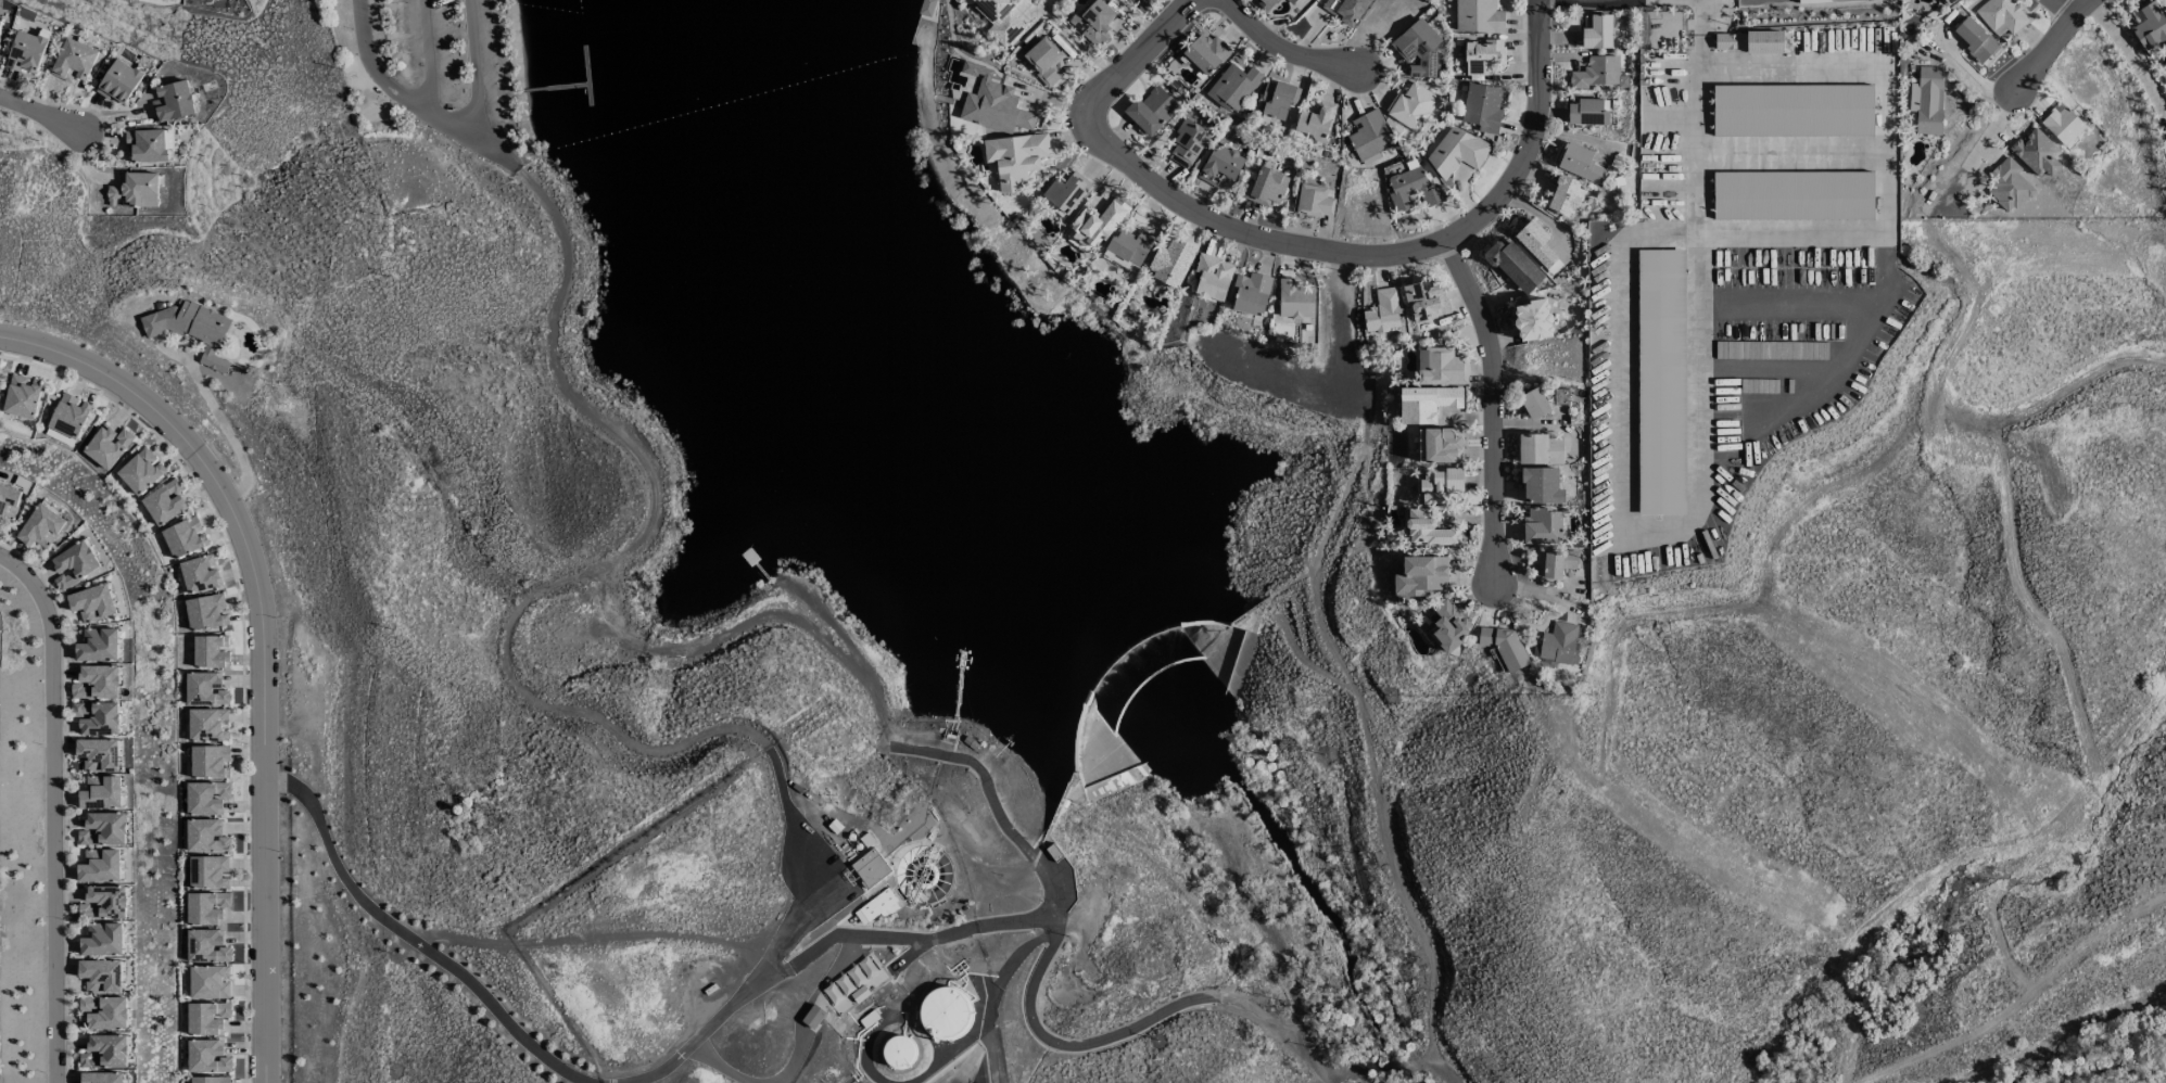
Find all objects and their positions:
building: (1290, 1)
building: (1826, 1)
building: (1267, 3)
road: (2067, 5)
building: (1345, 10)
road: (1699, 15)
building: (1478, 16)
building: (2001, 16)
building: (999, 18)
building: (1093, 22)
building: (2150, 26)
building: (1597, 33)
building: (1974, 39)
road: (2052, 39)
building: (1748, 41)
road: (1079, 44)
building: (1418, 49)
building: (26, 51)
road: (1289, 52)
building: (1206, 53)
road: (1137, 54)
building: (1482, 56)
road: (2131, 56)
road: (431, 58)
building: (1043, 60)
building: (73, 61)
building: (1598, 73)
road: (487, 74)
building: (118, 81)
pier: (544, 87)
building: (1233, 87)
road: (398, 94)
building: (1277, 99)
building: (1926, 100)
building: (173, 101)
building: (1410, 106)
building: (995, 107)
building: (1482, 107)
building: (1151, 110)
building: (1791, 110)
building: (1587, 112)
road: (41, 116)
building: (1314, 120)
building: (2062, 125)
building: (1369, 135)
building: (1187, 144)
building: (1456, 151)
building: (2036, 153)
road: (506, 156)
building: (1015, 158)
building: (1579, 163)
building: (1220, 165)
building: (2007, 186)
building: (1266, 187)
road: (535, 188)
building: (1413, 189)
building: (134, 190)
building: (1066, 192)
building: (1793, 195)
building: (1565, 196)
building: (1314, 201)
building: (1097, 224)
road: (1872, 231)
building: (1535, 243)
road: (1384, 249)
building: (1128, 250)
building: (1171, 262)
building: (1513, 266)
building: (1212, 277)
building: (1250, 293)
building: (1660, 294)
building: (1294, 300)
building: (1426, 300)
road: (1788, 308)
building: (1383, 310)
building: (1532, 320)
building: (191, 329)
road: (1851, 351)
building: (1440, 367)
road: (1770, 369)
building: (22, 396)
building: (1427, 404)
road: (1496, 404)
building: (1533, 404)
building: (68, 416)
road: (227, 430)
road: (621, 434)
building: (1440, 445)
building: (106, 446)
building: (1540, 449)
building: (140, 471)
building: (1439, 484)
building: (1541, 486)
building: (9, 501)
building: (164, 502)
road: (1620, 525)
building: (1542, 526)
building: (41, 527)
building: (1427, 530)
building: (183, 537)
building: (1557, 562)
building: (74, 564)
building: (199, 574)
building: (1420, 575)
building: (91, 603)
building: (205, 612)
road: (780, 613)
building: (1449, 625)
building: (1558, 642)
road: (263, 644)
building: (98, 645)
building: (1506, 646)
road: (662, 651)
building: (210, 652)
building: (97, 683)
building: (205, 689)
road: (876, 702)
dam: (1100, 708)
road: (557, 712)
building: (98, 717)
building: (206, 725)
road: (890, 735)
building: (98, 754)
building: (210, 762)
road: (772, 762)
building: (100, 793)
building: (205, 798)
road: (995, 807)
road: (53, 810)
building: (103, 829)
building: (205, 836)
river: (1285, 853)
building: (99, 866)
building: (870, 868)
building: (208, 871)
building: (103, 903)
building: (205, 907)
building: (876, 907)
road: (1038, 919)
road: (981, 927)
wastewater plant: (778, 932)
road: (654, 935)
road: (854, 938)
building: (102, 940)
road: (436, 940)
road: (408, 941)
road: (503, 945)
building: (206, 946)
road: (770, 958)
building: (100, 976)
building: (849, 980)
building: (208, 982)
building: (859, 993)
road: (992, 994)
road: (1236, 1005)
building: (104, 1012)
building: (945, 1015)
building: (812, 1017)
building: (206, 1018)
road: (1292, 1043)
road: (1068, 1045)
building: (104, 1052)
building: (898, 1052)
building: (206, 1056)
road: (717, 1066)
road: (1338, 1066)
building: (101, 1078)
building: (210, 1080)
road: (584, 1082)

